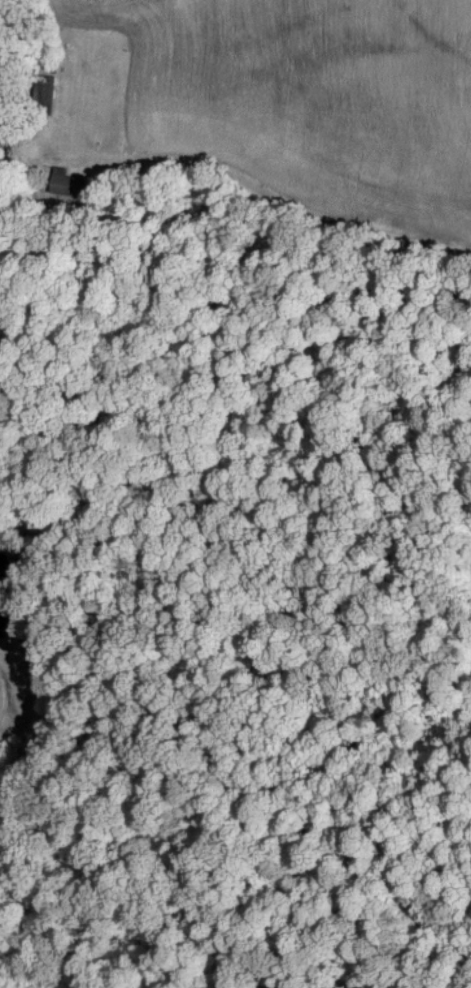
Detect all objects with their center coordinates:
building: (42, 86)
road: (4, 167)
building: (59, 185)
dam: (13, 654)

